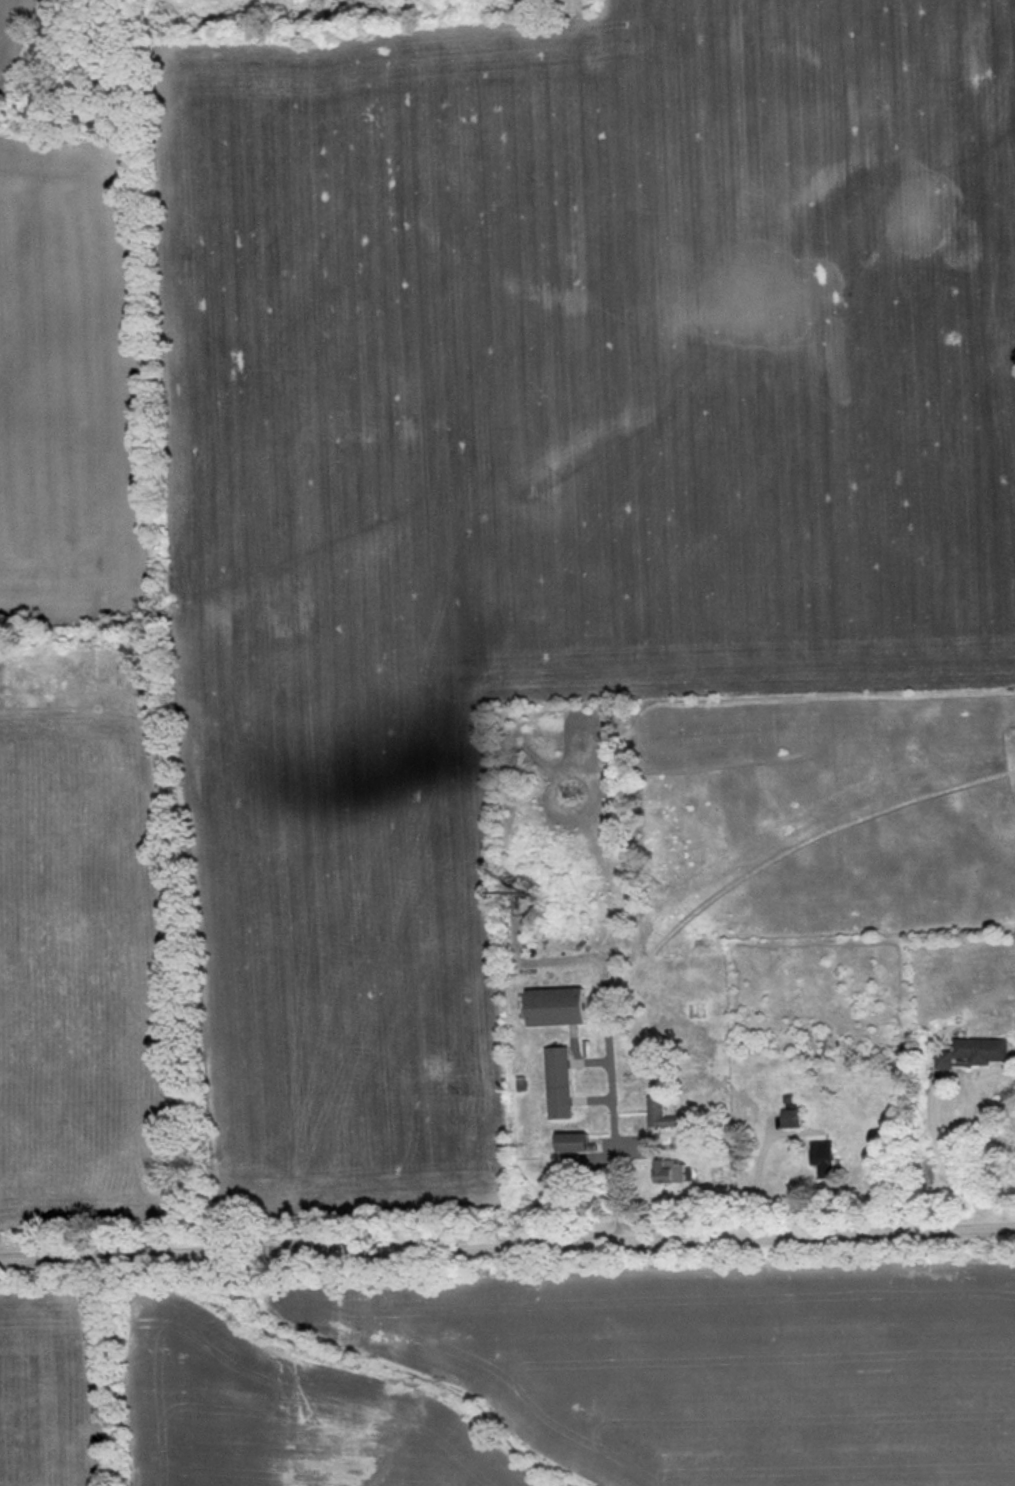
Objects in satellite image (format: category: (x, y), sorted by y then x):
building: (555, 1006)
road: (605, 1031)
building: (976, 1049)
building: (557, 1082)
road: (931, 1111)
building: (658, 1114)
building: (789, 1117)
building: (571, 1142)
building: (820, 1152)
building: (668, 1170)
road: (758, 1170)
road: (507, 1241)

